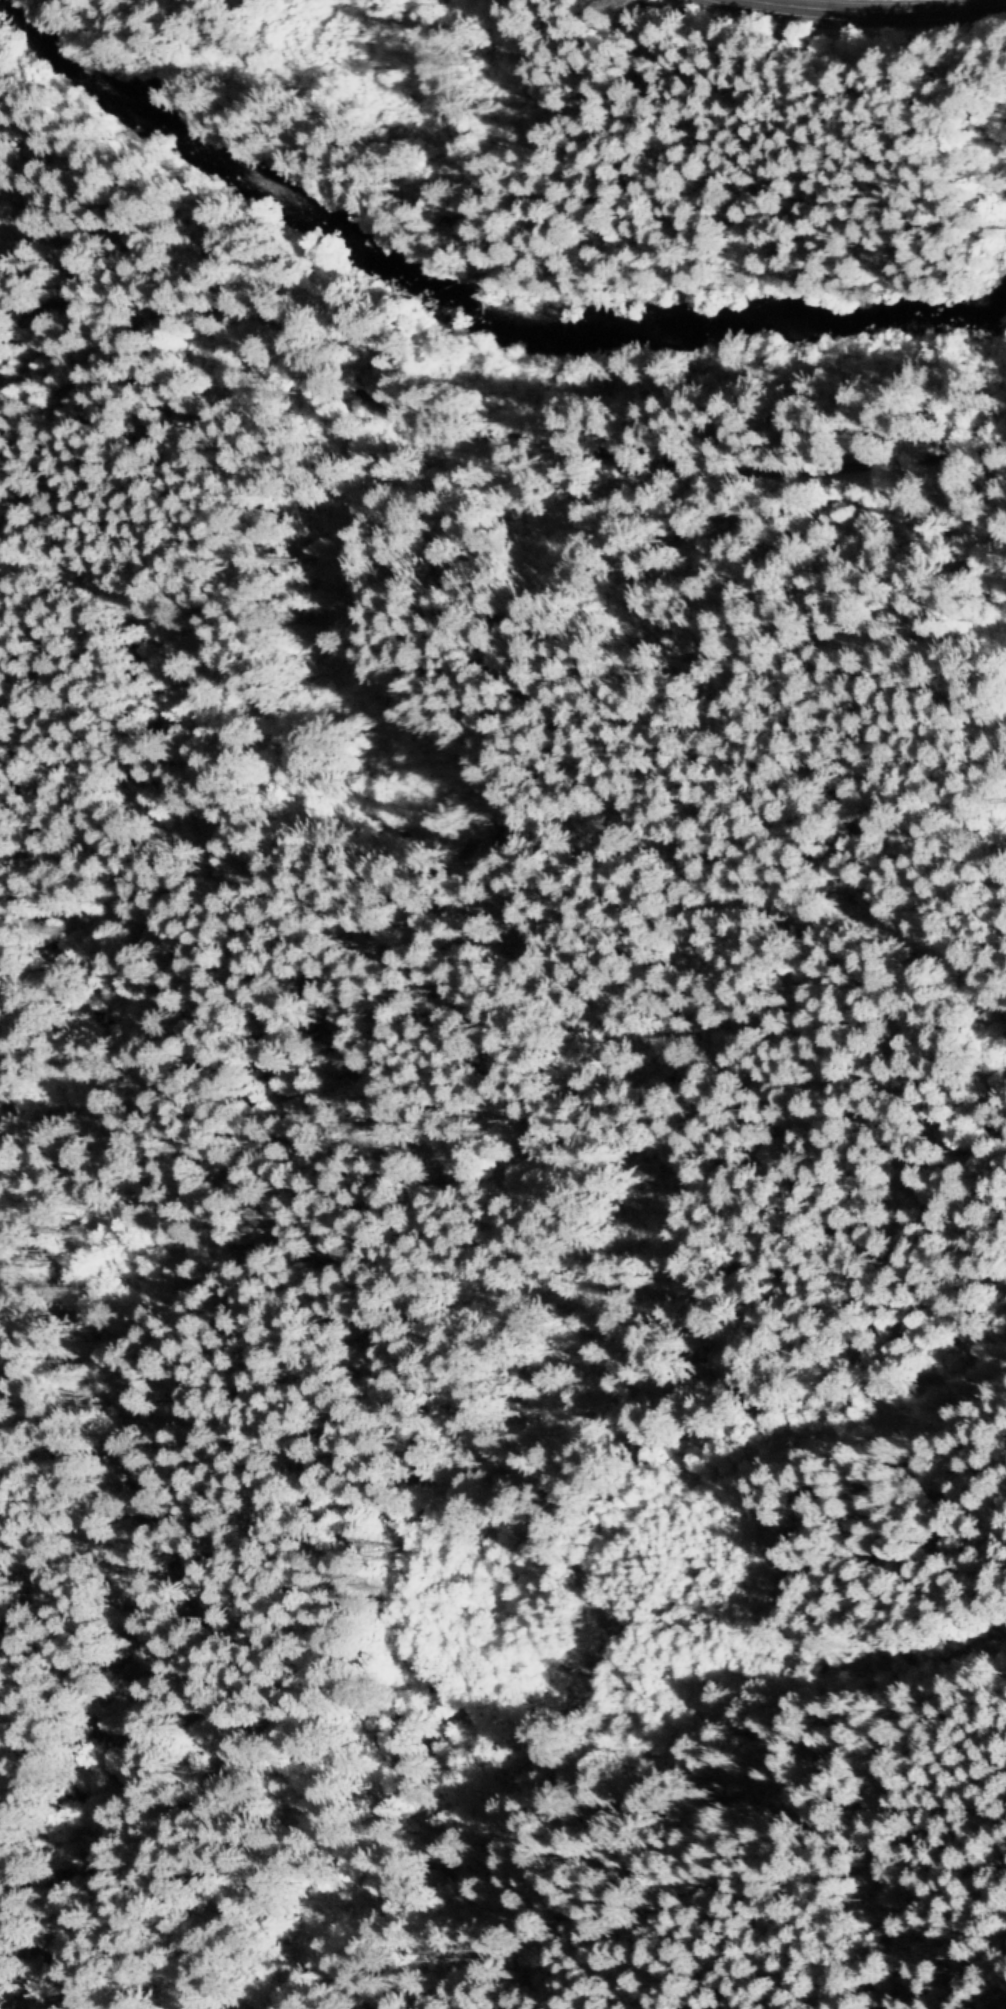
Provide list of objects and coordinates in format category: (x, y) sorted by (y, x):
road: (874, 13)
parking lot: (1003, 17)
river: (484, 320)
road: (498, 398)
road: (483, 862)
road: (617, 1574)

